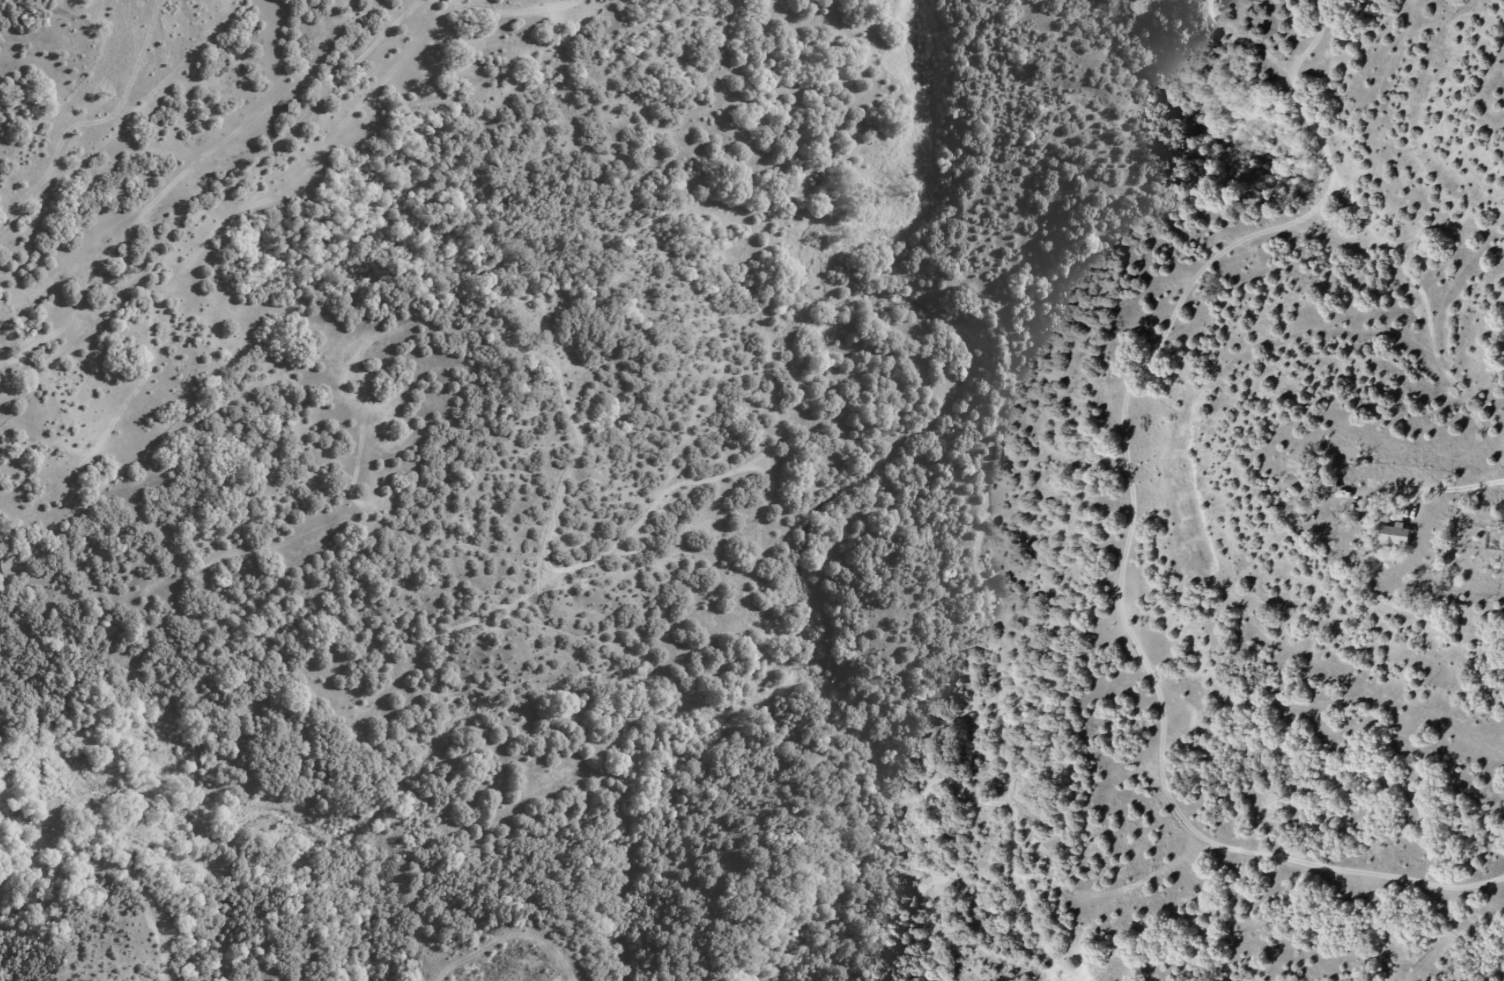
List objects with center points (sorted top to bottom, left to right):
building: (1327, 485)
building: (1395, 536)

